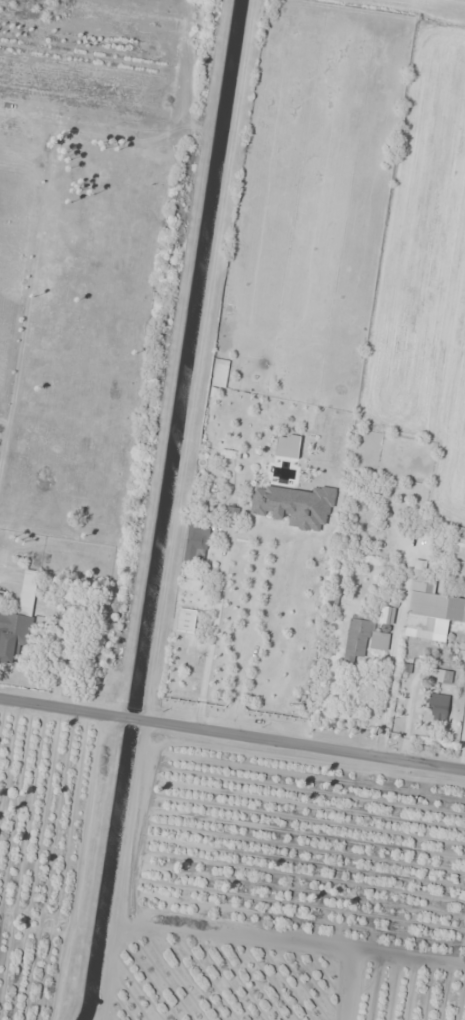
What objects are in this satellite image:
building: (232, 516)
building: (197, 542)
building: (459, 545)
building: (191, 581)
building: (29, 592)
building: (430, 603)
building: (13, 635)
building: (363, 640)
building: (439, 676)
building: (438, 707)
road: (232, 739)

